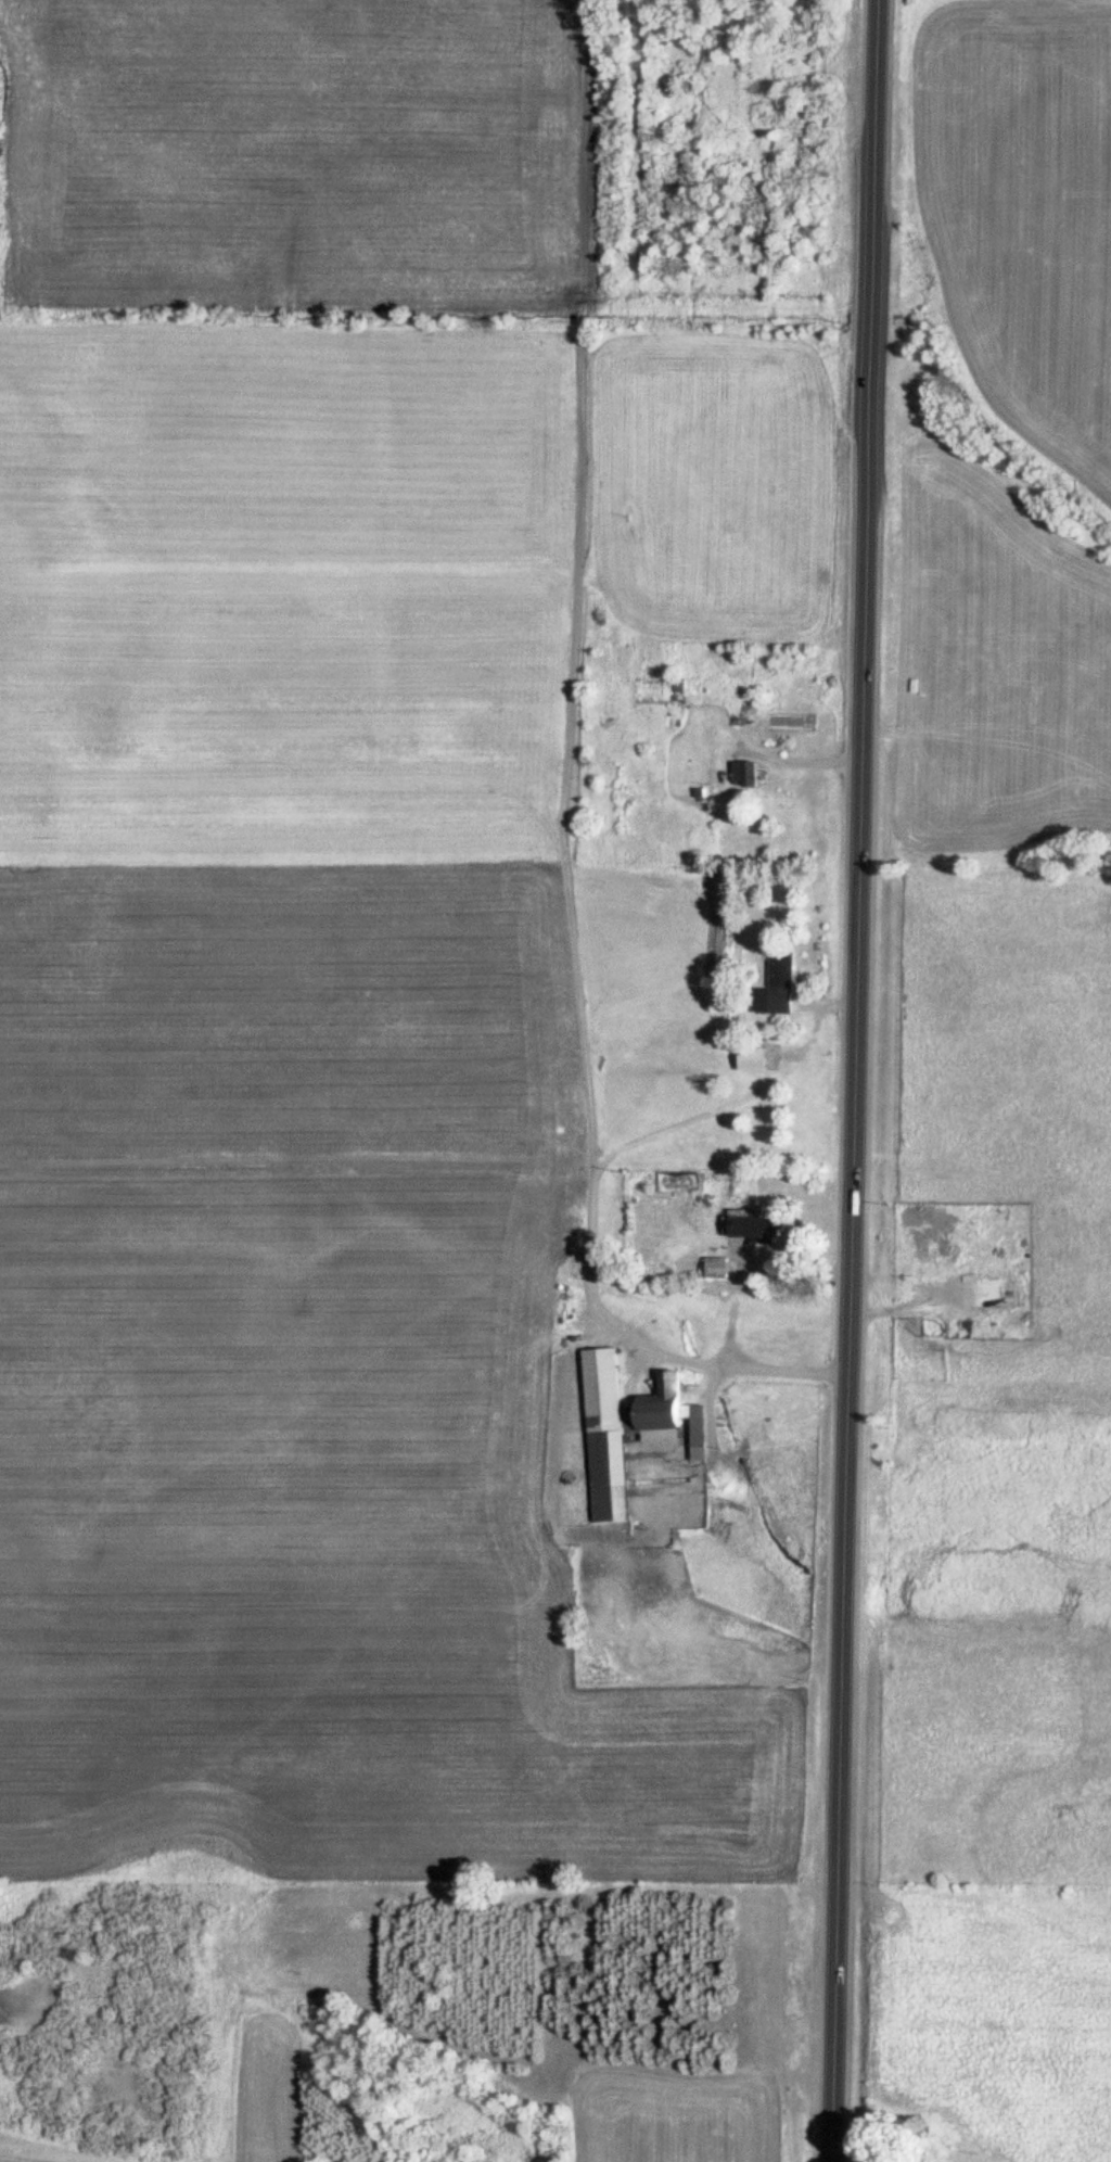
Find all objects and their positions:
building: (680, 685)
building: (751, 774)
building: (784, 982)
building: (756, 1059)
road: (859, 1081)
building: (768, 1230)
building: (719, 1268)
building: (630, 1432)
building: (996, 2103)
building: (947, 2126)

